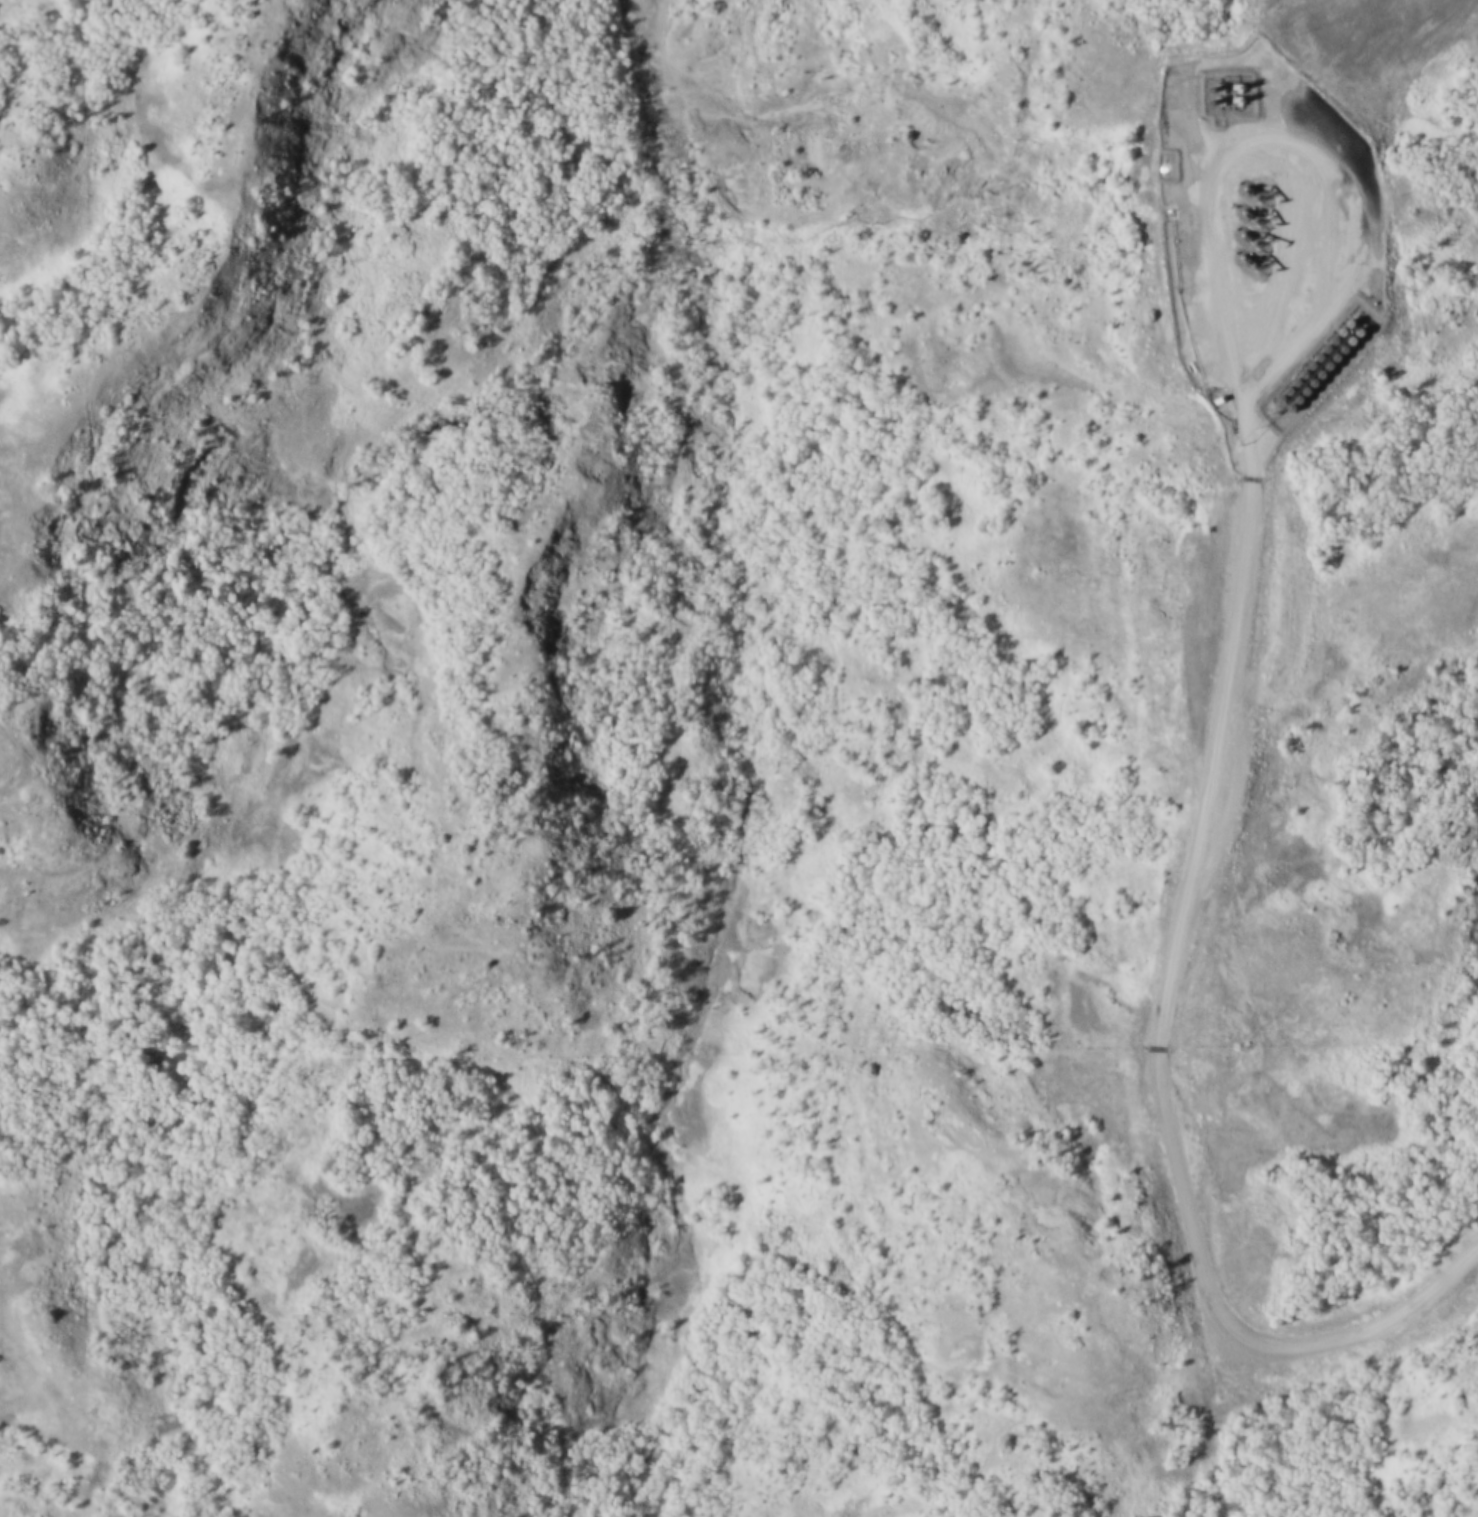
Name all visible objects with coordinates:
petroleum well: (1247, 191)
petroleum well: (1243, 215)
petroleum well: (1245, 236)
petroleum well: (1244, 260)
building: (1344, 326)
storage tank: (1344, 326)
building: (1336, 335)
storage tank: (1336, 335)
building: (1353, 335)
storage tank: (1353, 335)
building: (1328, 343)
storage tank: (1328, 343)
building: (1346, 344)
storage tank: (1346, 344)
building: (1321, 351)
storage tank: (1321, 351)
building: (1338, 352)
storage tank: (1338, 352)
building: (1314, 360)
storage tank: (1314, 360)
building: (1331, 361)
storage tank: (1331, 361)
building: (1306, 368)
storage tank: (1306, 368)
building: (1323, 368)
storage tank: (1323, 368)
building: (1298, 376)
storage tank: (1298, 376)
building: (1315, 377)
storage tank: (1315, 377)
building: (1291, 384)
storage tank: (1291, 384)
building: (1308, 385)
storage tank: (1308, 385)
building: (1283, 393)
storage tank: (1283, 393)
building: (1299, 393)
storage tank: (1299, 393)
building: (1275, 400)
storage tank: (1275, 400)
building: (1293, 401)
storage tank: (1293, 401)
building: (1285, 409)
storage tank: (1285, 409)

